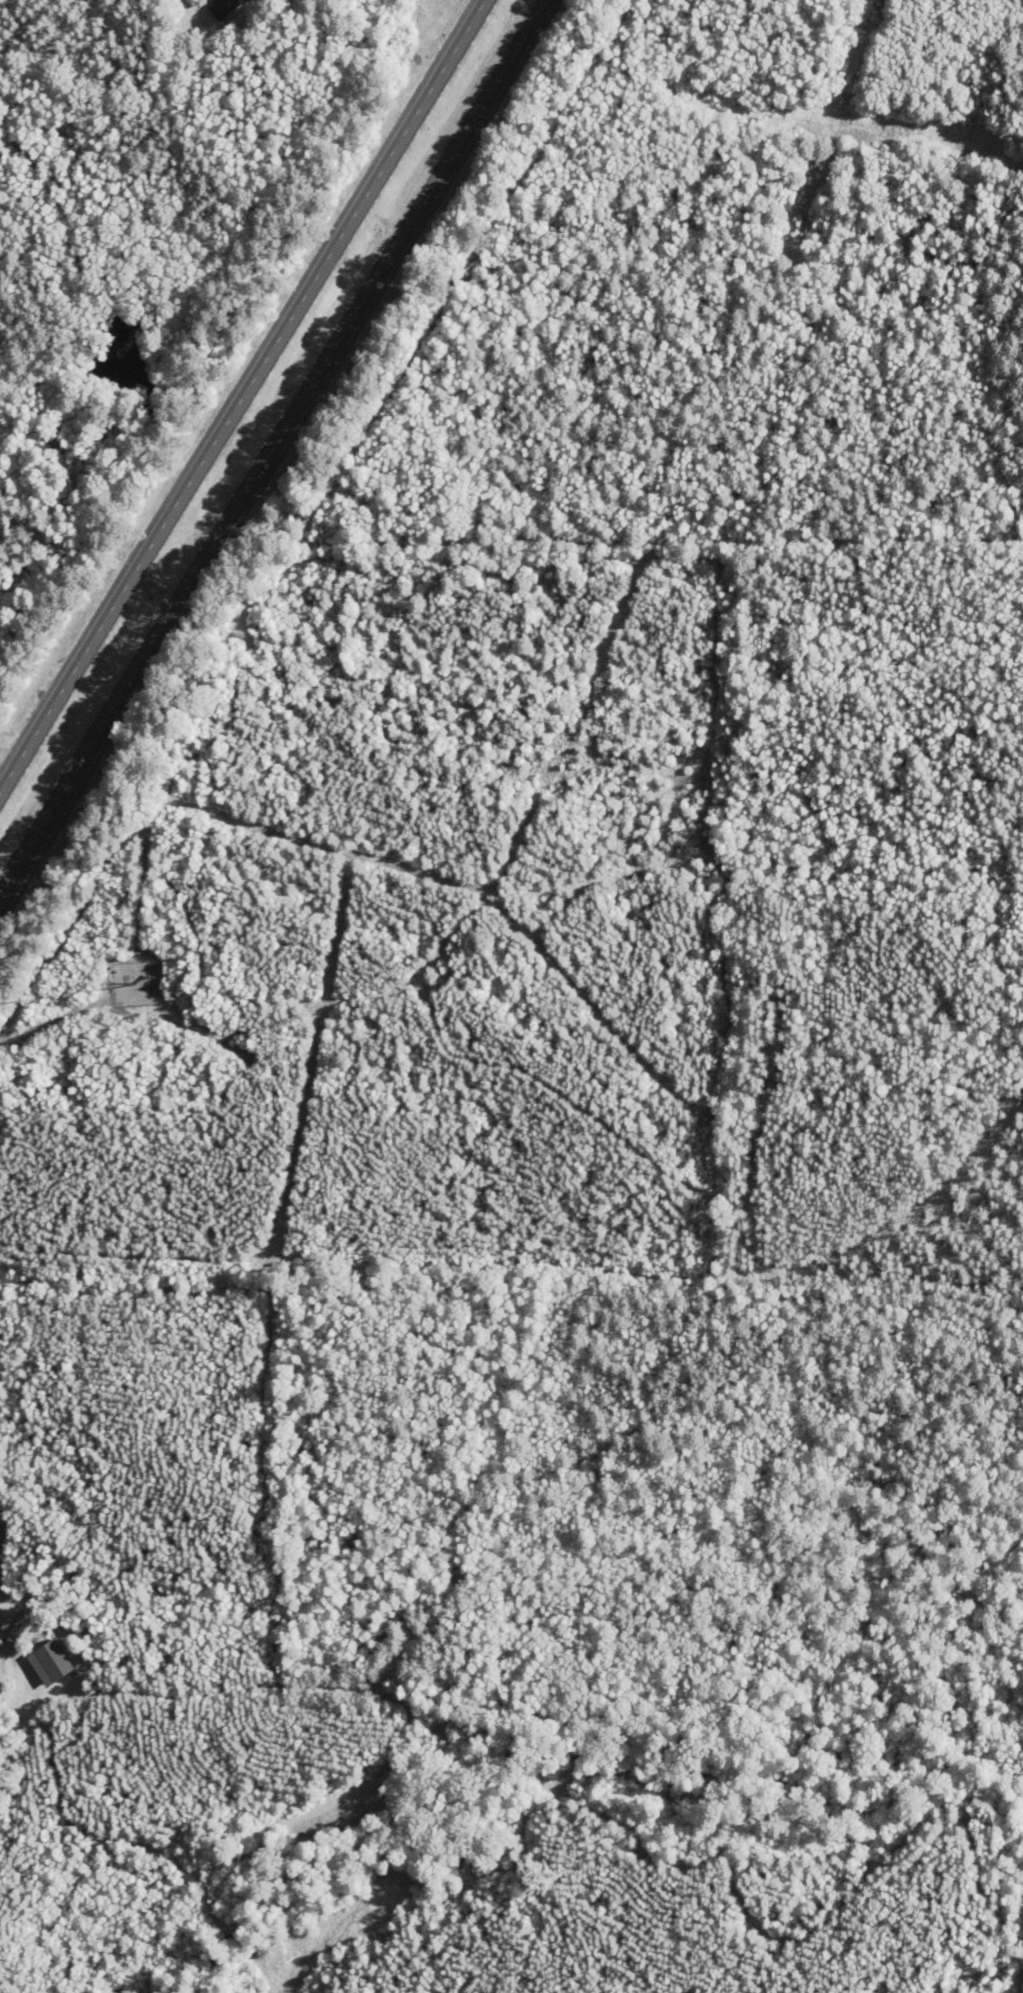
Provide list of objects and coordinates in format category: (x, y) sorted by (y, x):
building: (259, 1)
building: (225, 7)
road: (242, 395)
road: (273, 446)
building: (19, 1634)

